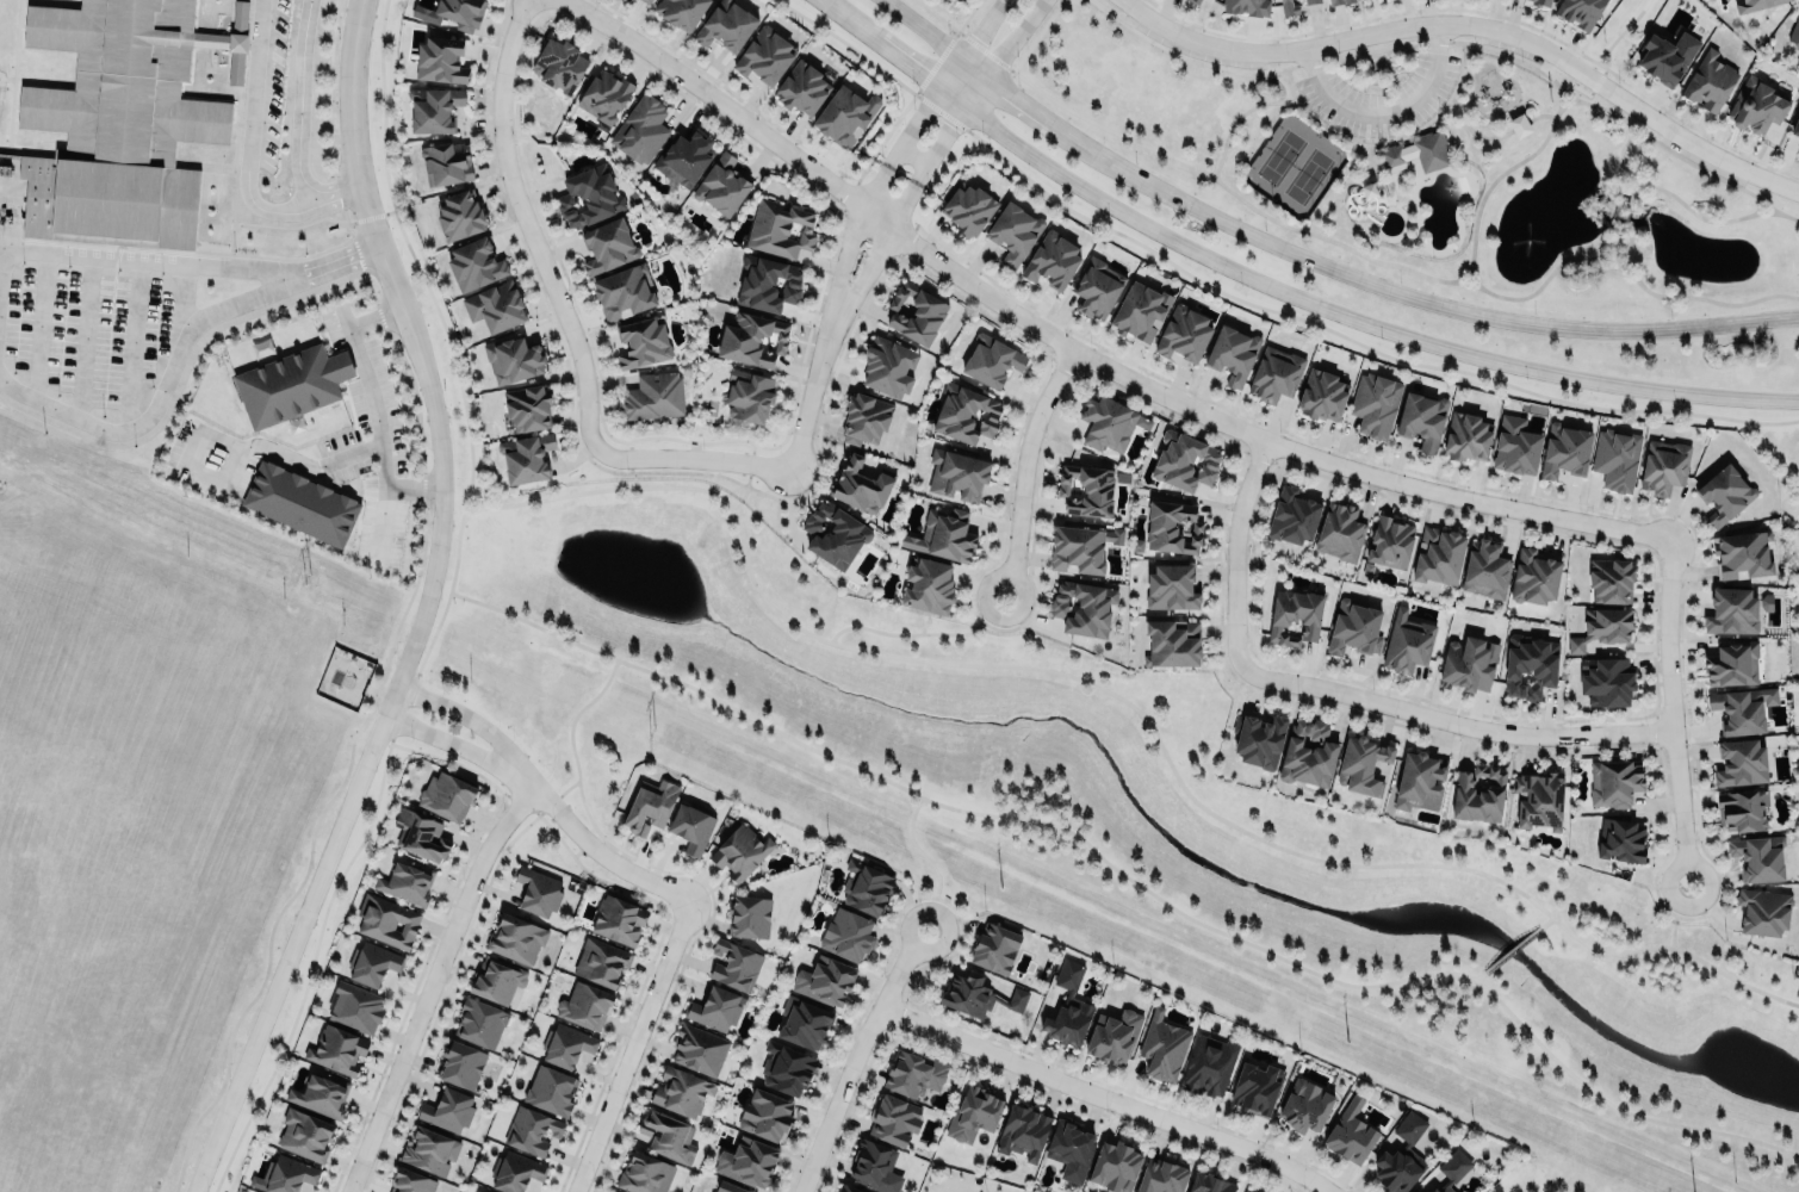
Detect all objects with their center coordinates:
building: (646, 0)
building: (1195, 1)
building: (1309, 1)
building: (1338, 1)
building: (1541, 1)
road: (829, 4)
building: (1754, 4)
building: (1247, 6)
building: (1289, 7)
building: (681, 12)
building: (1578, 12)
building: (452, 13)
building: (726, 25)
road: (1475, 25)
road: (923, 26)
building: (1794, 31)
road: (1038, 35)
road: (1431, 39)
road: (1612, 42)
parking lot: (1512, 46)
parking lot: (1197, 50)
building: (765, 55)
building: (1667, 55)
road: (899, 57)
building: (439, 58)
building: (560, 63)
road: (938, 79)
building: (1710, 80)
building: (801, 86)
road: (1578, 88)
road: (976, 89)
building: (604, 94)
parking lot: (1379, 95)
road: (1559, 100)
building: (1756, 106)
building: (434, 108)
road: (1037, 113)
road: (1385, 113)
building: (123, 114)
building: (844, 116)
road: (1237, 117)
building: (1518, 124)
building: (640, 126)
building: (1795, 126)
road: (298, 128)
road: (249, 131)
road: (1494, 136)
road: (1639, 136)
road: (1385, 138)
building: (1798, 149)
building: (1416, 153)
building: (684, 157)
parking lot: (1699, 160)
building: (445, 163)
park: (1292, 163)
road: (1501, 173)
building: (720, 184)
road: (1751, 192)
building: (589, 195)
road: (1675, 195)
water park: (1416, 197)
road: (1624, 203)
road: (1758, 204)
building: (967, 209)
road: (1627, 209)
road: (1776, 210)
building: (459, 215)
building: (780, 228)
building: (1013, 230)
road: (852, 235)
fountain: (1527, 244)
building: (607, 246)
road: (877, 249)
road: (1633, 250)
road: (147, 257)
building: (1050, 259)
road: (339, 260)
building: (474, 262)
road: (1389, 262)
road: (1634, 263)
road: (1472, 266)
building: (768, 284)
building: (1097, 287)
building: (624, 292)
road: (1446, 304)
building: (495, 305)
building: (914, 311)
building: (1139, 311)
road: (566, 317)
road: (1358, 318)
building: (1184, 333)
building: (751, 337)
building: (641, 341)
road: (1079, 350)
building: (1232, 354)
building: (513, 359)
building: (991, 359)
building: (888, 366)
building: (1276, 373)
building: (291, 383)
road: (812, 389)
road: (160, 391)
building: (653, 395)
building: (749, 395)
building: (1322, 395)
road: (372, 404)
building: (1373, 404)
building: (527, 406)
building: (966, 414)
building: (1419, 416)
building: (864, 417)
building: (1109, 422)
building: (1465, 437)
building: (1514, 443)
road: (240, 449)
building: (1564, 449)
building: (526, 455)
building: (1615, 459)
building: (1184, 460)
road: (1025, 466)
building: (1663, 466)
building: (957, 473)
road: (746, 480)
building: (860, 485)
building: (1085, 489)
building: (1724, 492)
building: (300, 503)
road: (737, 505)
building: (1294, 515)
road: (461, 519)
road: (380, 522)
building: (1172, 527)
building: (1340, 532)
building: (832, 534)
building: (943, 534)
building: (1390, 541)
building: (1077, 548)
building: (1741, 553)
building: (1437, 554)
building: (1484, 569)
building: (1532, 576)
building: (1609, 579)
power tower: (305, 581)
building: (928, 585)
building: (1171, 586)
building: (1082, 607)
road: (423, 609)
road: (991, 609)
building: (1730, 611)
building: (1294, 616)
building: (1606, 623)
building: (1353, 627)
road: (900, 633)
building: (1172, 641)
building: (1575, 642)
building: (1407, 644)
building: (1731, 662)
building: (1468, 663)
building: (1528, 665)
building: (1605, 681)
road: (1342, 690)
road: (1122, 697)
building: (1742, 708)
road: (1673, 710)
road: (466, 714)
road: (571, 730)
power tower: (651, 733)
building: (1258, 739)
road: (449, 741)
building: (1308, 753)
building: (1739, 763)
building: (1360, 764)
building: (1614, 781)
building: (1418, 782)
building: (1477, 793)
building: (446, 795)
building: (1538, 799)
building: (650, 806)
building: (1741, 808)
building: (690, 827)
park: (1137, 832)
building: (420, 834)
building: (1621, 840)
road: (595, 845)
building: (740, 851)
building: (1757, 857)
road: (929, 859)
road: (1124, 875)
building: (407, 882)
power tower: (999, 886)
building: (866, 887)
building: (538, 892)
road: (1681, 902)
building: (1762, 911)
building: (747, 915)
building: (619, 919)
building: (387, 921)
road: (1545, 921)
road: (1671, 933)
building: (846, 935)
building: (516, 938)
building: (994, 948)
road: (1512, 949)
building: (601, 961)
building: (371, 962)
building: (733, 966)
road: (1481, 975)
building: (496, 980)
building: (825, 981)
road: (430, 982)
building: (978, 995)
building: (584, 1005)
building: (355, 1007)
building: (1067, 1007)
building: (714, 1008)
building: (480, 1023)
building: (804, 1023)
building: (1111, 1035)
power tower: (1346, 1039)
building: (567, 1045)
road: (632, 1045)
building: (1162, 1047)
building: (699, 1048)
building: (336, 1049)
road: (854, 1056)
building: (459, 1063)
building: (1208, 1066)
building: (786, 1068)
building: (913, 1074)
building: (1255, 1088)
building: (551, 1089)
building: (680, 1091)
building: (320, 1094)
road: (1106, 1097)
building: (1305, 1105)
building: (447, 1110)
building: (972, 1113)
building: (764, 1115)
building: (893, 1119)
building: (532, 1130)
building: (1022, 1131)
building: (1351, 1131)
building: (304, 1134)
building: (668, 1135)
building: (1069, 1149)
building: (429, 1150)
building: (746, 1161)
building: (874, 1166)
building: (1115, 1166)
building: (1389, 1168)
building: (1452, 1168)
building: (515, 1171)
building: (644, 1173)
building: (284, 1175)
building: (1161, 1177)
building: (410, 1181)
building: (1209, 1184)
building: (727, 1187)
building: (848, 1188)
building: (1432, 1190)
building: (477, 1191)
building: (613, 1191)
building: (1245, 1191)
building: (1254, 1191)
building: (1414, 1191)

